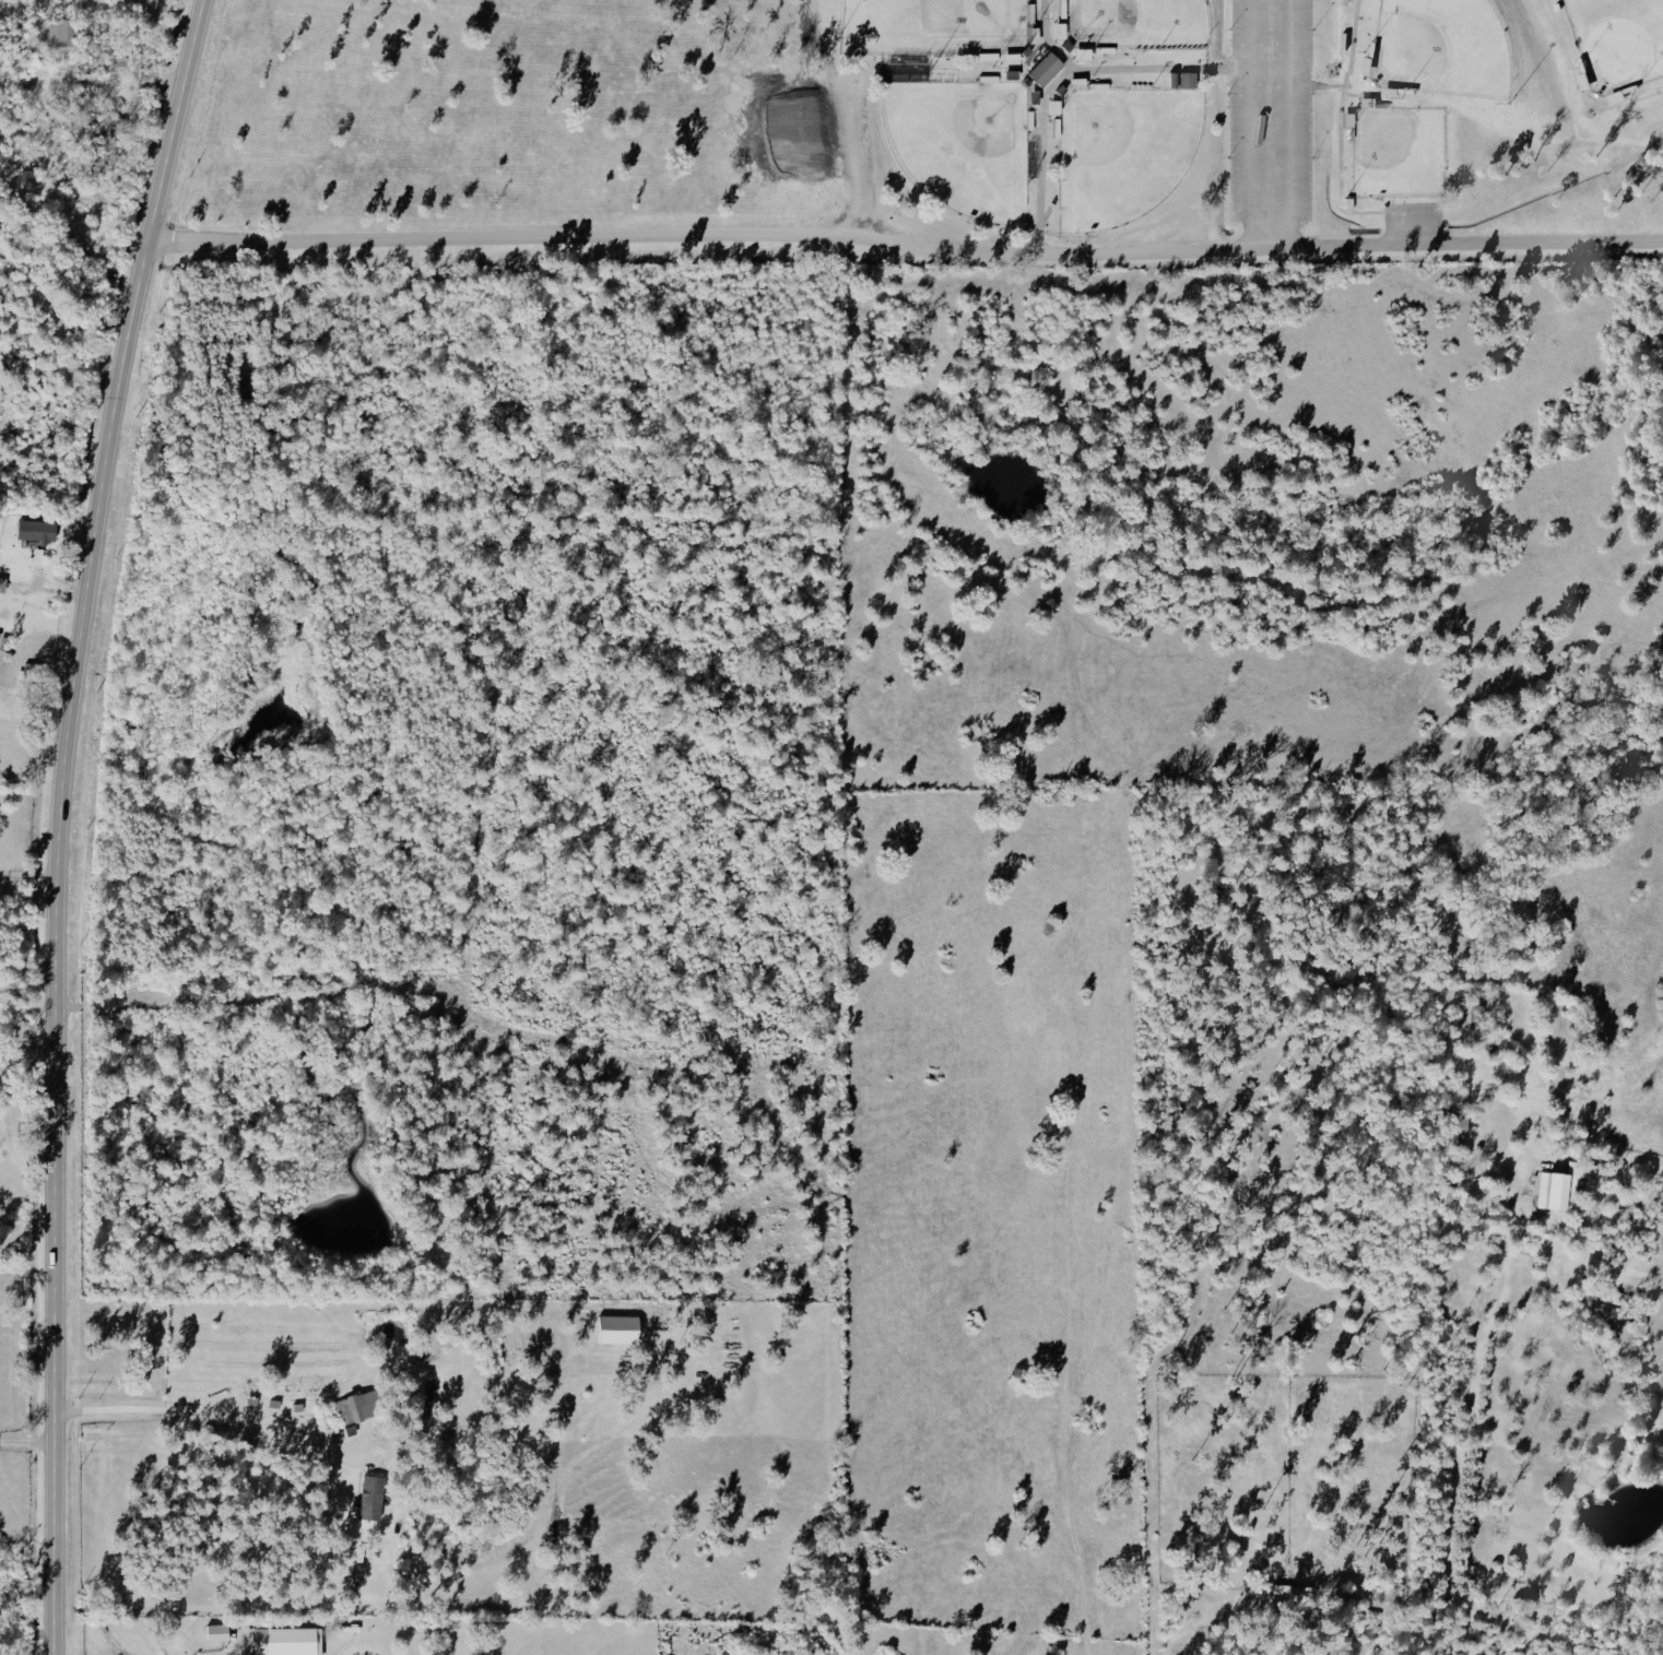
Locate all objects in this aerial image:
building: (58, 33)
building: (1035, 34)
road: (1250, 36)
road: (1289, 36)
building: (1084, 52)
building: (1047, 68)
road: (1269, 72)
building: (1184, 79)
building: (1078, 82)
building: (1368, 101)
road: (906, 243)
building: (36, 530)
building: (2, 583)
road: (64, 820)
road: (30, 889)
road: (30, 1048)
building: (1460, 1125)
building: (1562, 1186)
building: (618, 1329)
road: (1470, 1404)
building: (359, 1406)
road: (212, 1423)
road: (28, 1442)
building: (371, 1498)
building: (217, 1633)
building: (287, 1641)

